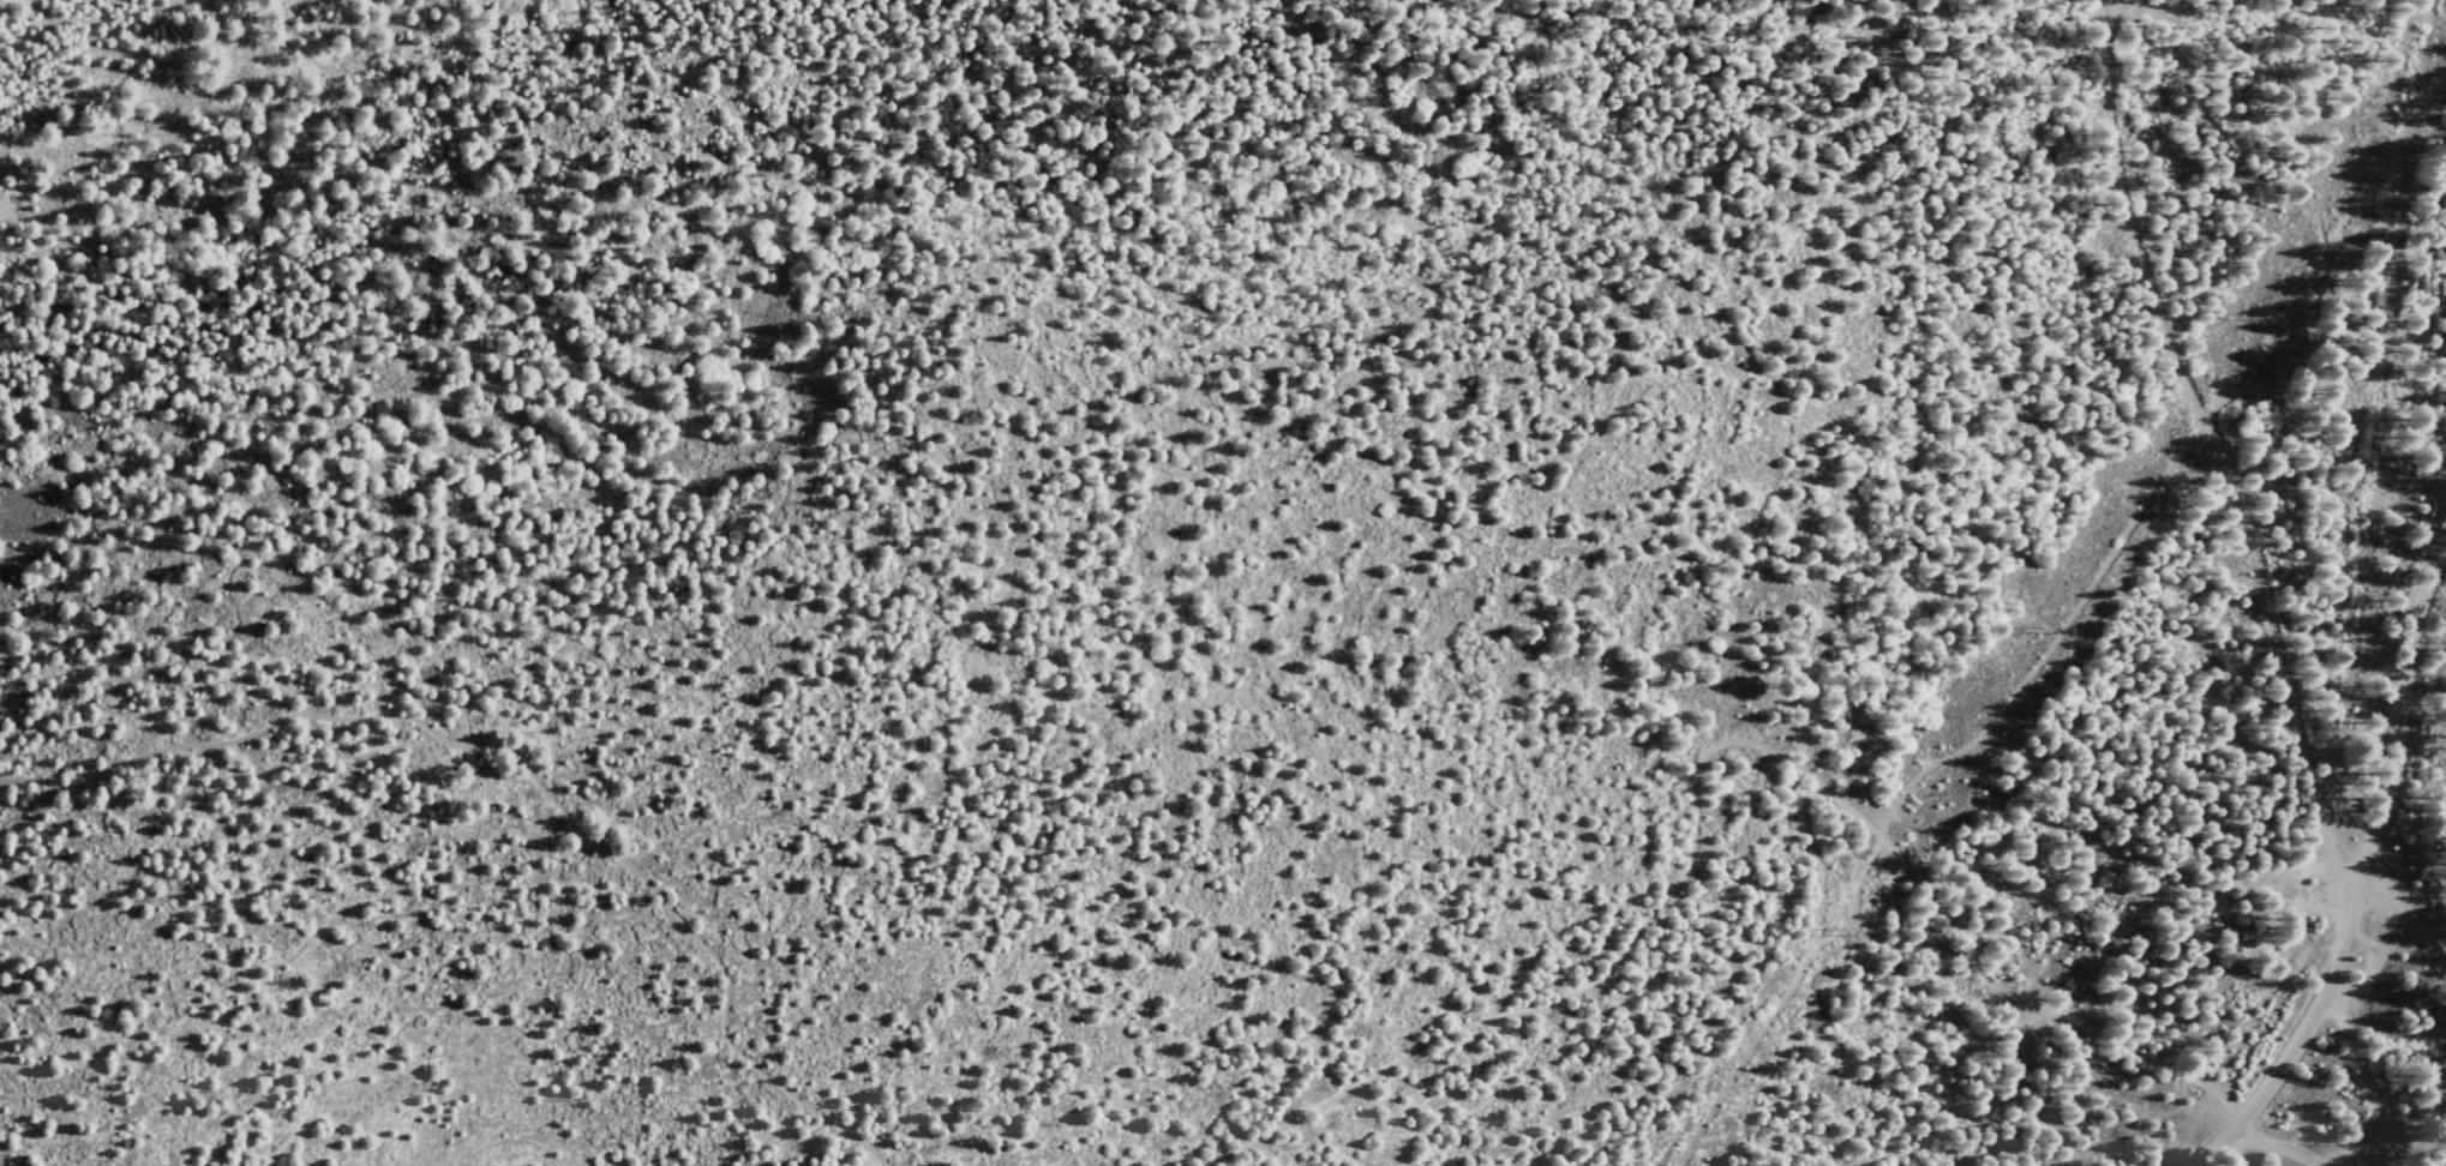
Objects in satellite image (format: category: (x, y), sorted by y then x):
road: (2325, 252)
power tower: (2265, 320)
road: (2220, 445)
power tower: (2044, 627)
road: (2050, 636)
road: (1701, 767)
road: (2366, 876)
road: (2384, 892)
power tower: (1833, 932)
road: (2423, 933)
road: (2364, 938)
road: (2373, 960)
road: (1769, 996)
road: (726, 1023)
road: (2362, 1075)
road: (2273, 1146)

